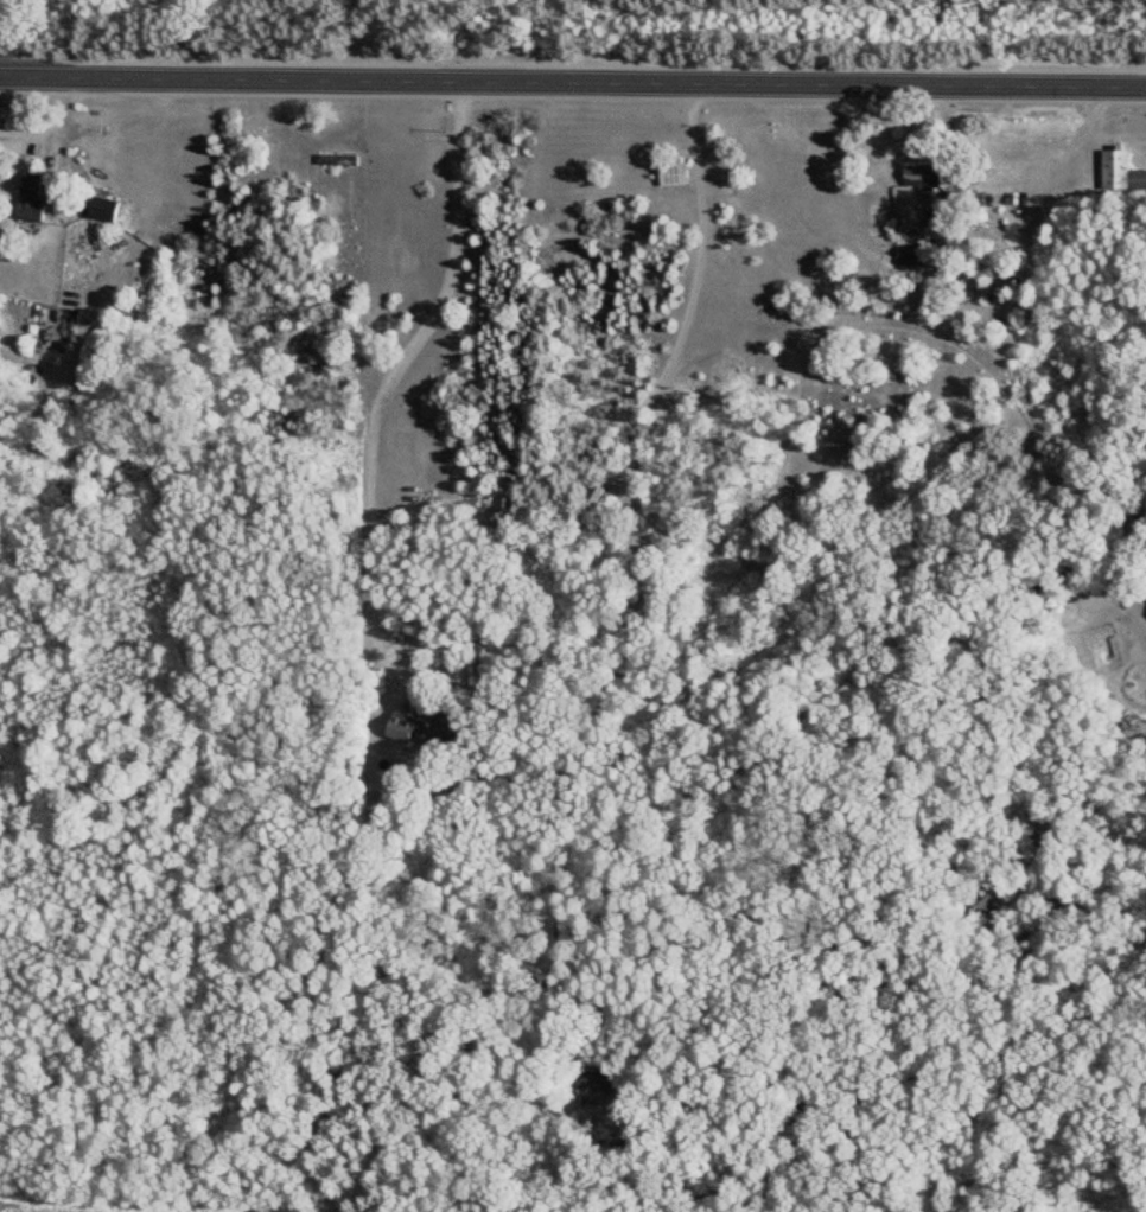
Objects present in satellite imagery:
road: (357, 37)
road: (573, 77)
building: (335, 161)
building: (1120, 174)
building: (671, 177)
building: (921, 178)
building: (30, 197)
road: (386, 378)

